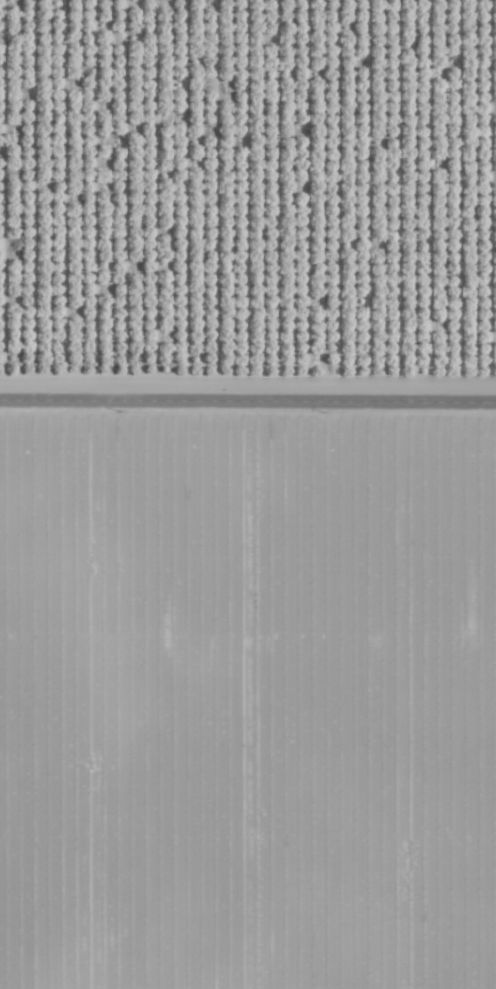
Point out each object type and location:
road: (248, 404)

